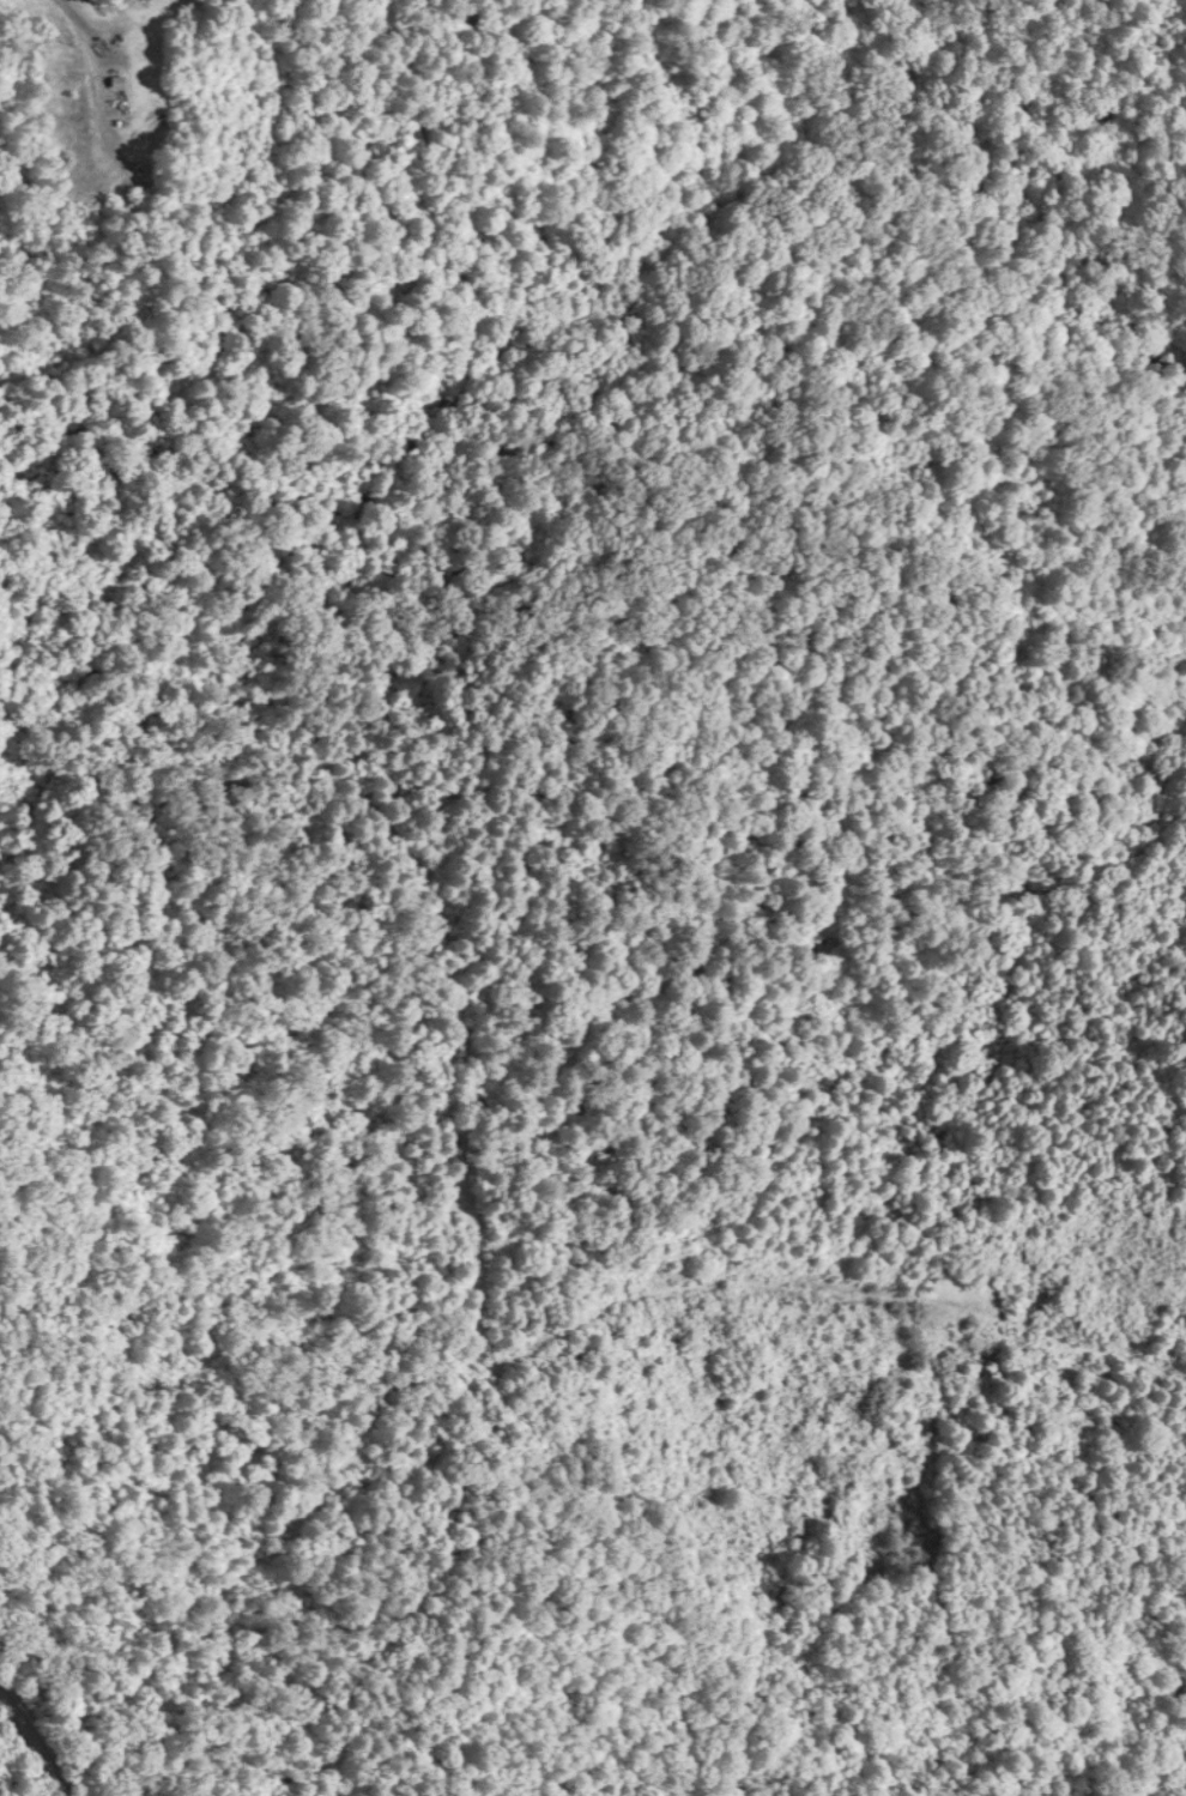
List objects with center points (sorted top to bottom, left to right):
road: (75, 28)
building: (116, 93)
road: (22, 1760)

